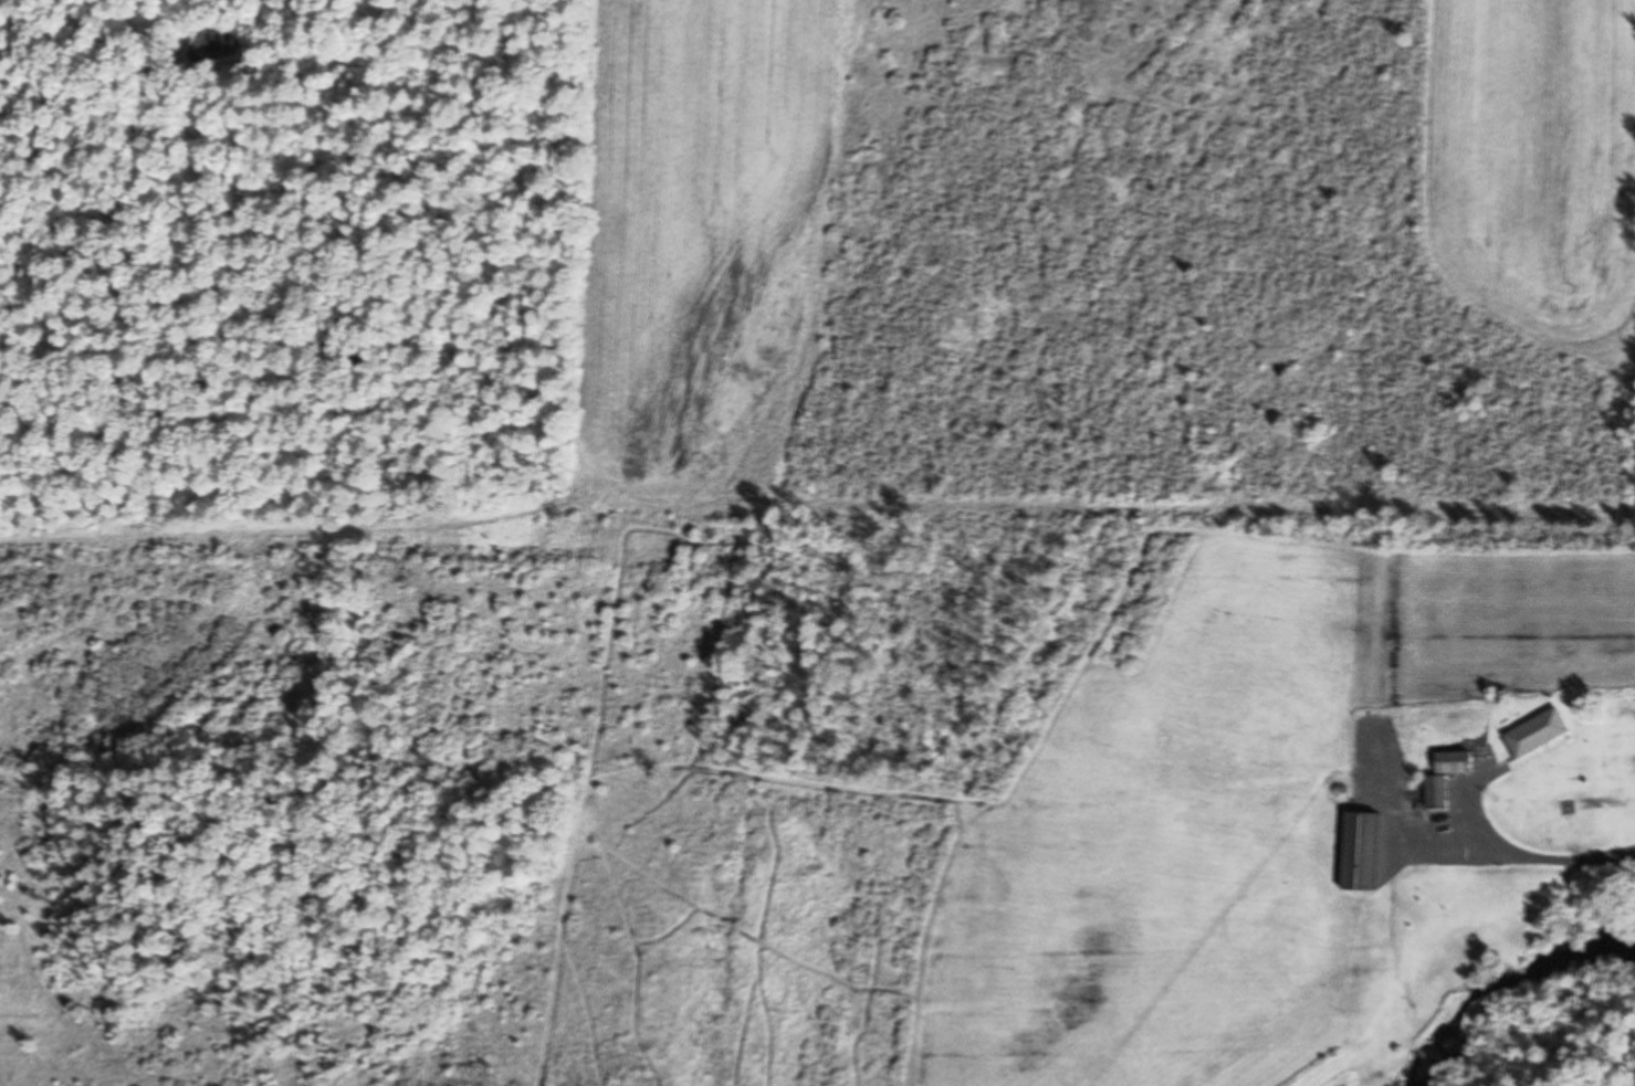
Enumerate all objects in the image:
building: (1544, 734)
building: (1453, 777)
building: (1369, 852)

